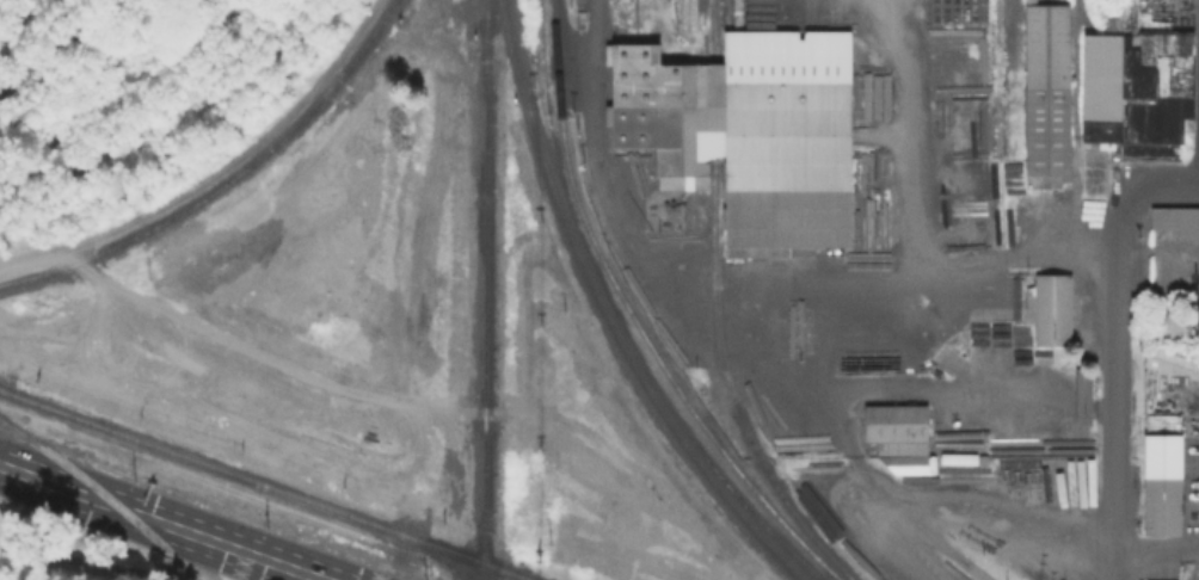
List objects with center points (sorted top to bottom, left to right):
road: (57, 44)
building: (1136, 90)
park: (130, 92)
building: (1050, 92)
building: (750, 132)
road: (215, 172)
railway: (225, 180)
road: (1148, 190)
building: (1176, 228)
road: (978, 261)
railway: (484, 280)
railway: (714, 309)
building: (1058, 310)
railway: (605, 315)
railway: (634, 317)
building: (1192, 320)
road: (760, 325)
road: (282, 364)
road: (911, 390)
road: (1115, 403)
building: (902, 438)
railway: (266, 485)
railway: (103, 493)
building: (1167, 507)
road: (965, 510)
road: (162, 523)
road: (109, 567)
railway: (481, 570)

